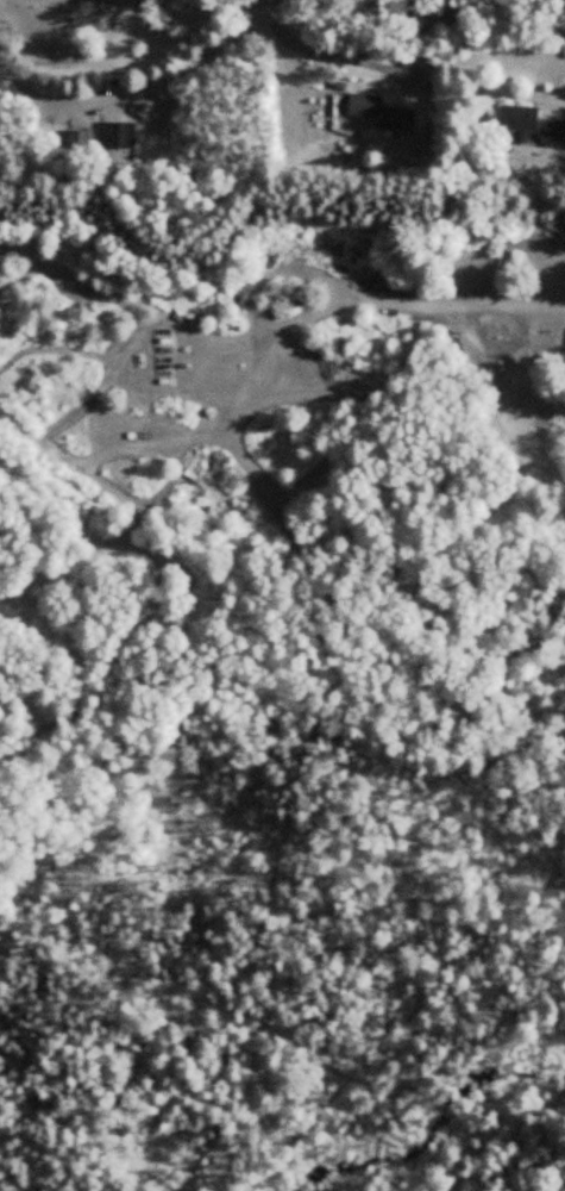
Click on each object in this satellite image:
road: (387, 13)
building: (381, 111)
building: (531, 125)
building: (117, 135)
building: (77, 138)

